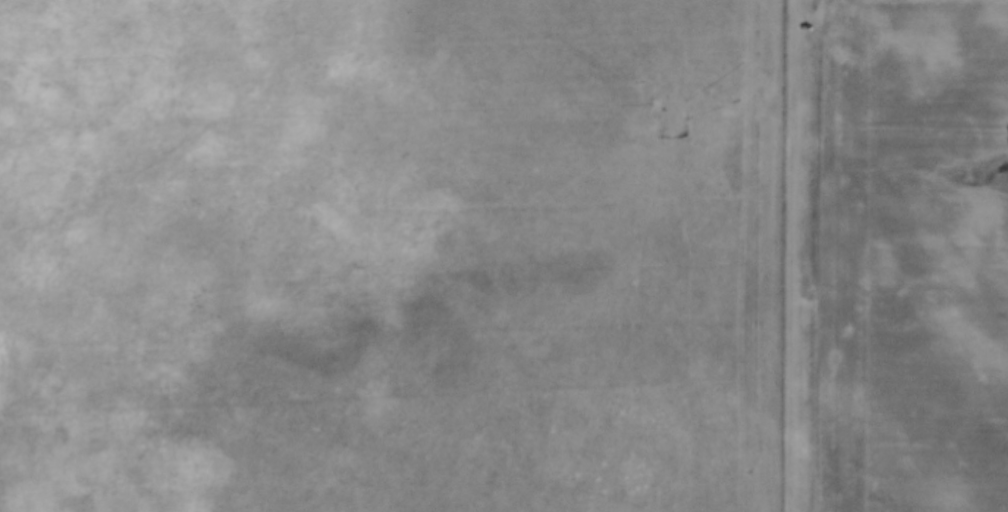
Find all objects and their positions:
road: (795, 256)

